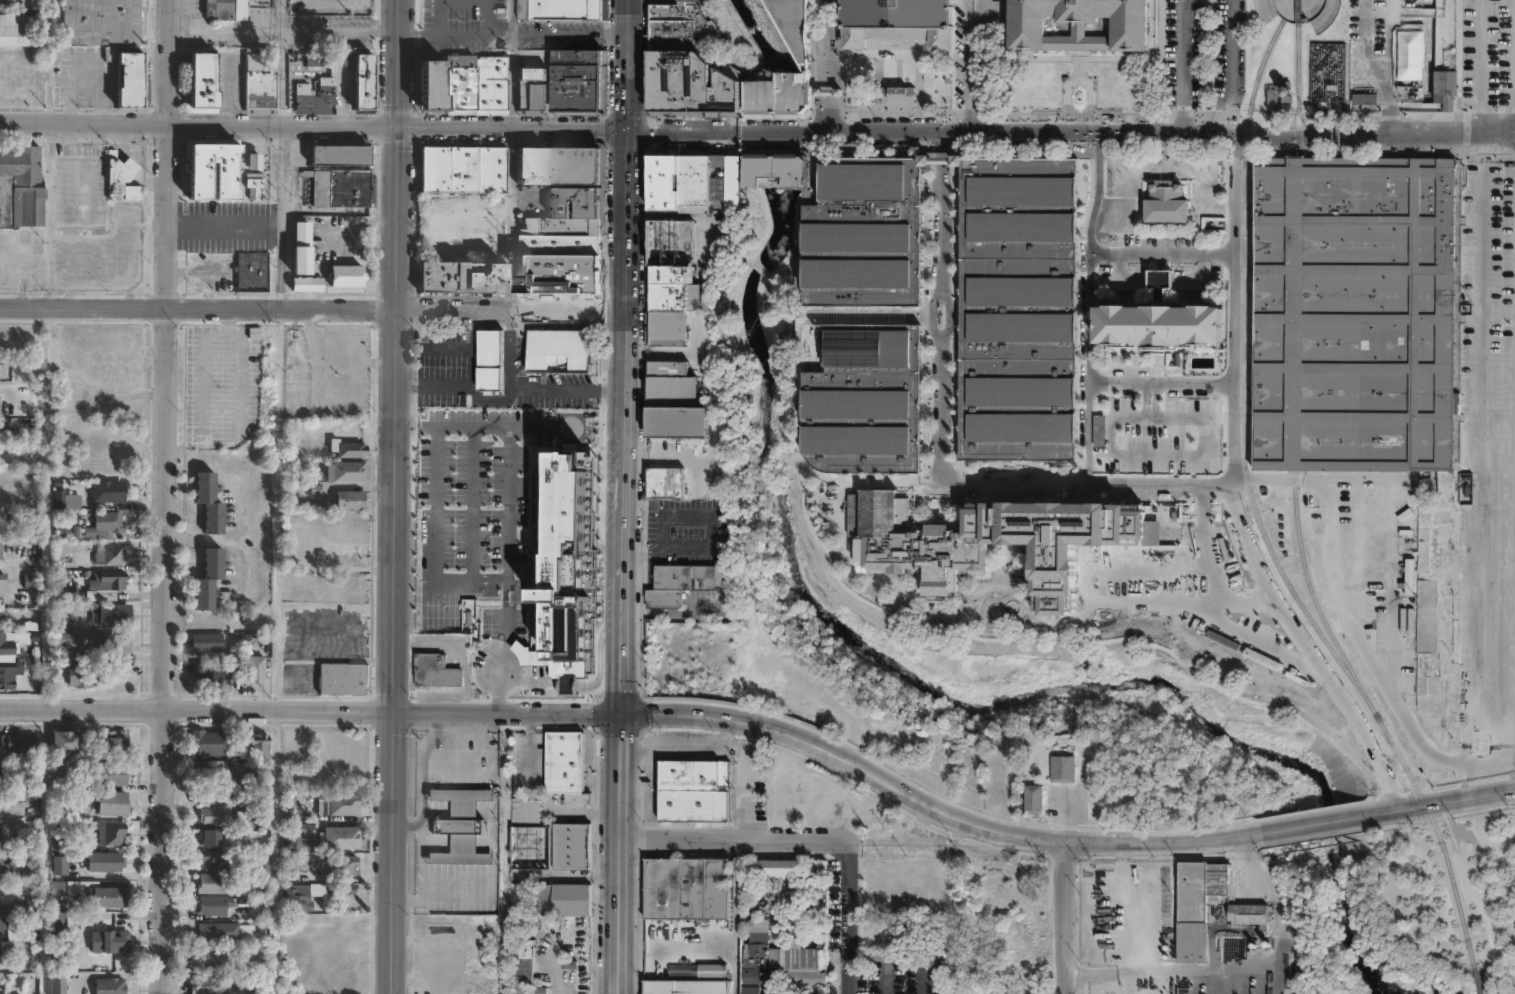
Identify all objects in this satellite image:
road: (454, 0)
parking lot: (334, 6)
building: (217, 8)
building: (560, 9)
parking lot: (989, 18)
building: (898, 21)
stadium: (898, 21)
building: (102, 22)
railway: (1297, 22)
building: (1078, 24)
parking lot: (461, 26)
building: (790, 26)
road: (510, 27)
building: (683, 27)
building: (22, 30)
road: (978, 30)
road: (340, 31)
parking lot: (560, 34)
parking lot: (331, 35)
road: (458, 35)
road: (496, 35)
road: (569, 36)
road: (746, 37)
road: (1330, 41)
road: (835, 44)
road: (821, 45)
building: (1410, 54)
road: (1480, 54)
parking lot: (1182, 55)
parking lot: (1231, 55)
parking lot: (1488, 55)
road: (649, 58)
road: (281, 63)
road: (629, 65)
road: (966, 67)
road: (1181, 67)
road: (1233, 68)
building: (1328, 71)
road: (1389, 76)
building: (129, 80)
building: (203, 80)
building: (577, 80)
building: (693, 80)
building: (459, 84)
building: (364, 88)
building: (532, 88)
building: (1443, 88)
railway: (1297, 89)
building: (261, 90)
water tower: (1289, 90)
building: (774, 92)
road: (509, 93)
building: (898, 94)
road: (977, 98)
building: (317, 102)
road: (1322, 104)
road: (836, 112)
road: (821, 113)
road: (1057, 114)
road: (1480, 121)
road: (255, 125)
road: (570, 130)
traffic signals: (629, 132)
road: (1507, 132)
road: (1064, 136)
fountain: (1365, 148)
road: (607, 150)
road: (975, 150)
building: (334, 157)
building: (531, 166)
building: (572, 166)
building: (462, 169)
building: (771, 169)
building: (213, 173)
building: (119, 175)
road: (1083, 175)
building: (693, 181)
building: (20, 188)
building: (334, 190)
road: (1234, 195)
railway: (1297, 198)
building: (576, 203)
building: (1164, 206)
road: (47, 215)
road: (675, 217)
road: (280, 218)
road: (1244, 218)
road: (355, 221)
road: (510, 221)
road: (769, 225)
building: (559, 226)
road: (734, 226)
road: (224, 229)
parking lot: (75, 232)
building: (668, 242)
building: (558, 245)
building: (300, 248)
road: (1099, 255)
road: (748, 259)
road: (759, 268)
road: (1244, 268)
building: (251, 272)
building: (558, 274)
building: (345, 276)
building: (459, 277)
building: (307, 286)
building: (671, 304)
building: (1018, 308)
road: (313, 311)
parking lot: (939, 312)
building: (1354, 315)
building: (861, 319)
road: (1233, 319)
building: (1160, 321)
road: (446, 348)
road: (472, 349)
building: (558, 351)
railway: (1296, 356)
building: (489, 359)
road: (1243, 365)
railway: (1242, 366)
parking lot: (326, 371)
road: (1099, 384)
road: (458, 387)
road: (528, 391)
road: (1147, 400)
building: (674, 402)
road: (1199, 416)
road: (625, 420)
road: (1110, 420)
road: (1085, 428)
road: (646, 430)
road: (1479, 446)
building: (354, 447)
parking lot: (507, 449)
road: (1180, 451)
road: (1146, 455)
road: (1163, 458)
parking lot: (1487, 469)
building: (351, 470)
building: (1039, 474)
railway: (1295, 479)
building: (667, 482)
road: (1088, 485)
road: (1497, 488)
building: (109, 493)
road: (165, 496)
road: (396, 496)
building: (67, 499)
building: (352, 499)
building: (208, 502)
road: (471, 503)
building: (109, 528)
road: (709, 536)
building: (1000, 543)
building: (1, 550)
building: (1387, 550)
building: (342, 553)
building: (110, 557)
road: (506, 559)
road: (1249, 564)
road: (939, 573)
building: (3, 579)
building: (208, 579)
building: (686, 580)
building: (31, 582)
building: (110, 583)
building: (557, 587)
parking lot: (487, 601)
railway: (1316, 603)
building: (4, 604)
road: (673, 611)
building: (112, 616)
road: (1347, 620)
road: (1512, 624)
road: (976, 633)
building: (2, 639)
building: (74, 639)
road: (463, 643)
building: (209, 644)
building: (115, 645)
building: (258, 669)
building: (437, 671)
building: (83, 676)
building: (212, 676)
building: (343, 678)
building: (7, 680)
road: (311, 708)
traffic signals: (623, 710)
road: (700, 715)
building: (65, 741)
building: (208, 742)
building: (112, 743)
building: (18, 744)
building: (258, 747)
road: (687, 747)
railway: (1399, 757)
building: (562, 761)
road: (1374, 761)
building: (215, 768)
building: (0, 772)
building: (110, 773)
building: (80, 776)
building: (1058, 777)
building: (691, 790)
road: (748, 794)
road: (1442, 801)
building: (112, 802)
building: (342, 807)
building: (1029, 807)
railway: (1415, 807)
building: (210, 815)
building: (250, 820)
building: (459, 822)
road: (1313, 823)
building: (303, 828)
building: (108, 832)
road: (1005, 833)
building: (211, 836)
building: (528, 836)
road: (734, 838)
building: (340, 839)
building: (21, 840)
building: (572, 844)
road: (621, 851)
building: (213, 859)
building: (0, 861)
building: (105, 861)
building: (59, 865)
building: (263, 865)
building: (778, 867)
building: (343, 869)
building: (211, 883)
railway: (1452, 884)
building: (57, 888)
road: (1472, 888)
building: (346, 889)
building: (686, 889)
building: (259, 890)
building: (97, 895)
building: (297, 897)
building: (570, 898)
building: (1197, 904)
building: (22, 905)
building: (214, 905)
road: (734, 916)
building: (1250, 916)
road: (846, 917)
road: (1064, 918)
building: (55, 921)
building: (72, 921)
road: (1435, 921)
building: (0, 926)
building: (224, 931)
building: (15, 933)
building: (109, 942)
building: (803, 947)
building: (0, 953)
building: (206, 956)
building: (761, 959)
building: (522, 966)
building: (697, 970)
road: (1241, 972)
parking lot: (899, 974)
road: (886, 977)
road: (926, 978)
railway: (1477, 979)
building: (56, 983)
building: (209, 985)
road: (1497, 985)
building: (109, 986)
building: (684, 986)

